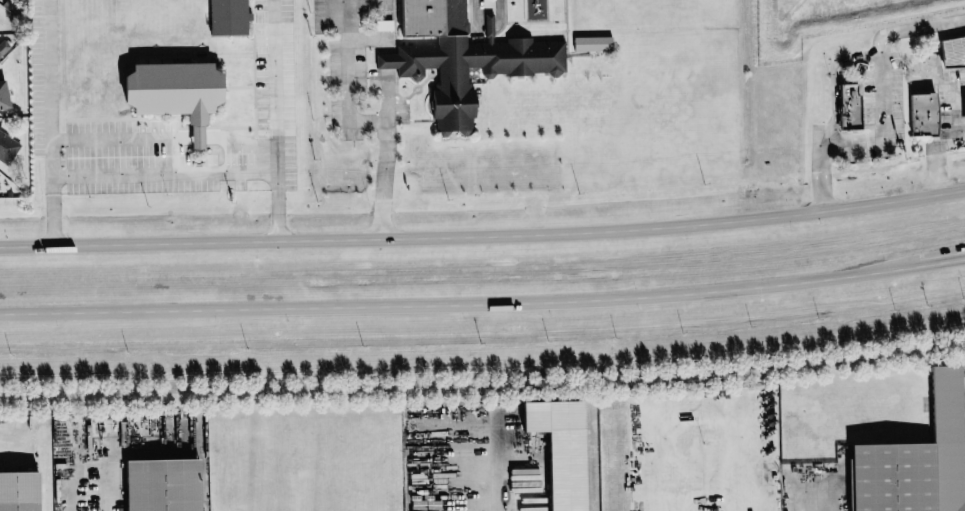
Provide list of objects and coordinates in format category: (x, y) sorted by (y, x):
building: (228, 17)
road: (372, 39)
building: (592, 44)
building: (3, 47)
building: (952, 51)
building: (462, 58)
road: (388, 62)
road: (834, 79)
building: (175, 92)
building: (3, 96)
road: (389, 98)
building: (849, 106)
road: (881, 106)
building: (964, 110)
building: (923, 114)
road: (271, 120)
road: (363, 121)
road: (47, 122)
road: (961, 136)
road: (117, 138)
road: (197, 138)
road: (953, 138)
road: (227, 142)
building: (7, 148)
road: (258, 156)
road: (149, 172)
building: (0, 179)
road: (483, 235)
road: (963, 259)
road: (963, 259)
road: (931, 264)
road: (451, 306)
road: (483, 387)
road: (710, 427)
road: (102, 448)
building: (561, 449)
road: (475, 452)
building: (916, 459)
building: (779, 475)
building: (162, 485)
building: (19, 491)

